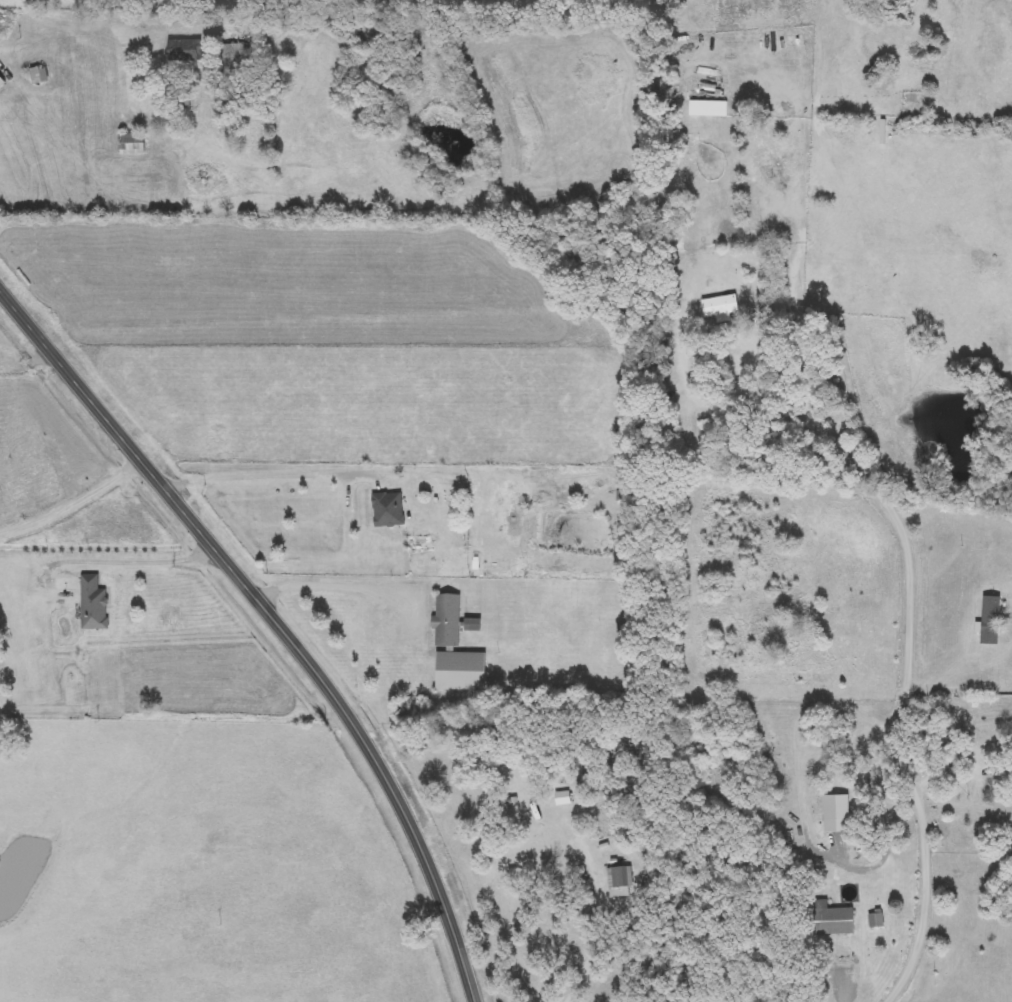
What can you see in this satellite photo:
building: (180, 46)
building: (39, 75)
building: (2, 81)
building: (180, 100)
building: (132, 143)
building: (720, 306)
road: (32, 364)
road: (274, 475)
building: (623, 495)
road: (76, 500)
building: (388, 510)
road: (130, 557)
road: (342, 584)
building: (94, 604)
road: (278, 614)
building: (447, 620)
building: (991, 620)
building: (472, 624)
building: (804, 636)
road: (862, 637)
building: (461, 671)
road: (906, 693)
road: (954, 699)
building: (981, 752)
building: (834, 921)
road: (886, 931)
road: (597, 944)

